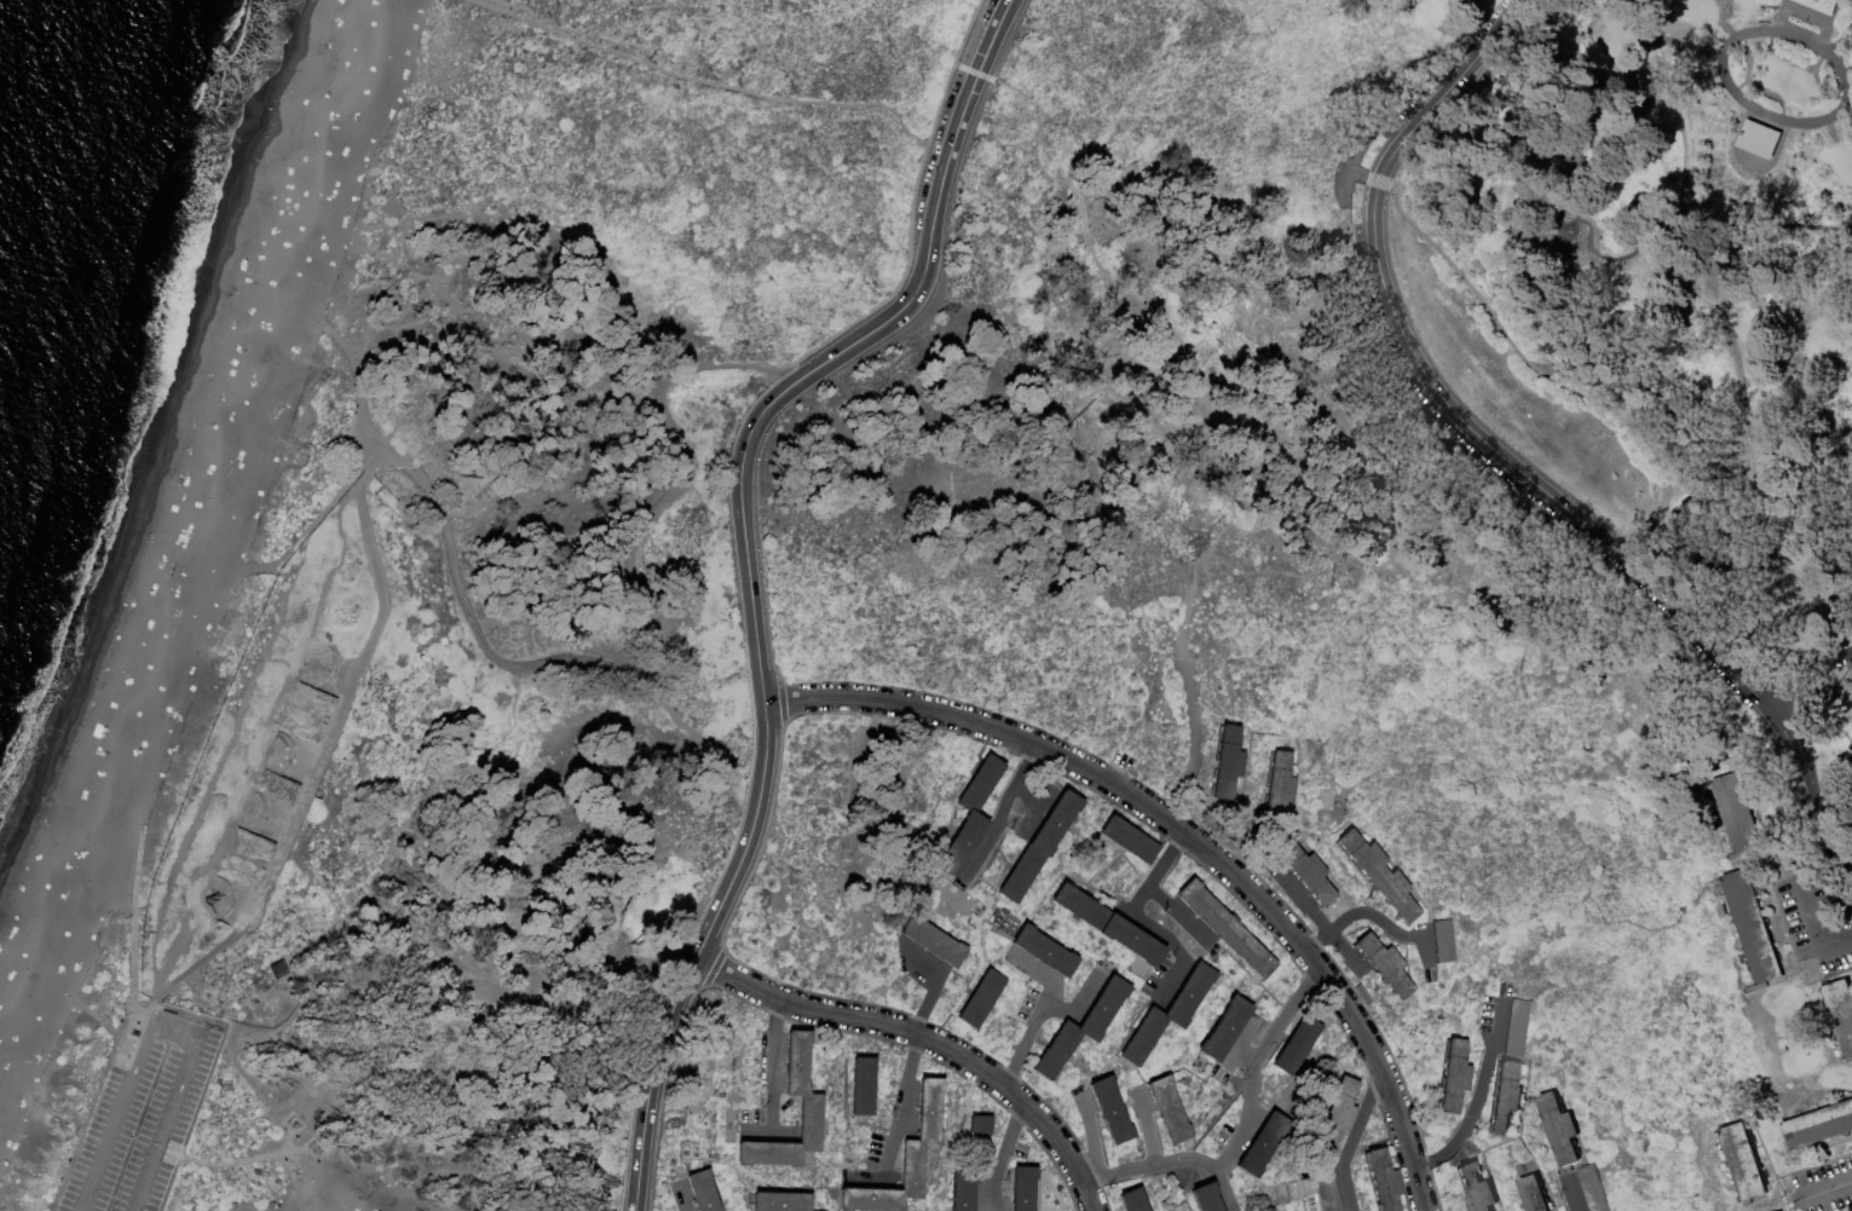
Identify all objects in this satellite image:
building: (1819, 6)
road: (1779, 16)
road: (1842, 41)
road: (979, 73)
road: (1850, 83)
road: (1576, 92)
road: (1737, 98)
parking lot: (1419, 108)
road: (1039, 128)
road: (908, 132)
building: (1759, 140)
road: (1367, 178)
road: (1335, 183)
road: (1778, 230)
parking lot: (1366, 266)
road: (1454, 271)
road: (1489, 294)
road: (1727, 352)
road: (790, 374)
road: (1201, 385)
road: (1442, 390)
road: (365, 414)
road: (745, 439)
road: (687, 461)
road: (312, 521)
road: (1723, 586)
park: (975, 624)
road: (313, 646)
road: (333, 650)
road: (351, 662)
building: (1850, 680)
road: (1812, 682)
road: (346, 694)
building: (1844, 705)
road: (232, 731)
road: (1195, 731)
road: (705, 737)
road: (262, 749)
road: (311, 750)
road: (267, 751)
building: (1228, 761)
road: (305, 766)
road: (296, 779)
building: (266, 782)
building: (1280, 784)
road: (1806, 788)
road: (287, 802)
road: (247, 805)
road: (1000, 814)
building: (970, 815)
building: (1737, 815)
road: (285, 821)
road: (1185, 836)
building: (1130, 840)
road: (272, 841)
building: (1040, 846)
building: (1308, 872)
building: (1380, 875)
road: (133, 878)
road: (1302, 900)
road: (1138, 901)
road: (204, 903)
road: (1181, 918)
road: (219, 919)
road: (1384, 921)
building: (1108, 924)
road: (1815, 924)
road: (240, 925)
building: (1227, 929)
building: (1753, 929)
building: (934, 941)
road: (1317, 941)
building: (1446, 941)
building: (1045, 951)
road: (1345, 952)
road: (1432, 961)
road: (133, 962)
building: (1385, 964)
building: (277, 969)
road: (1039, 969)
road: (175, 979)
road: (1171, 984)
road: (1050, 998)
building: (982, 999)
road: (928, 1000)
road: (1074, 1003)
road: (143, 1004)
building: (1169, 1014)
building: (1841, 1014)
road: (93, 1015)
road: (1040, 1016)
road: (1500, 1019)
building: (1225, 1028)
building: (1518, 1028)
building: (1081, 1030)
road: (175, 1031)
road: (925, 1039)
building: (1298, 1045)
road: (1019, 1056)
road: (772, 1065)
road: (1257, 1065)
building: (1454, 1077)
road: (651, 1082)
road: (905, 1084)
building: (864, 1086)
road: (90, 1098)
building: (1505, 1098)
building: (812, 1108)
road: (279, 1109)
building: (1169, 1109)
building: (1110, 1111)
parking lot: (139, 1113)
building: (1333, 1114)
road: (115, 1117)
road: (1471, 1117)
road: (167, 1125)
road: (1146, 1126)
building: (1819, 1128)
building: (1559, 1130)
road: (756, 1132)
road: (1091, 1132)
road: (1352, 1141)
building: (1264, 1143)
road: (888, 1153)
road: (1004, 1157)
building: (905, 1159)
road: (1171, 1161)
building: (973, 1163)
building: (1744, 1163)
road: (229, 1164)
building: (1384, 1180)
parking lot: (1824, 1187)
building: (1023, 1188)
building: (1326, 1188)
building: (1476, 1188)
building: (1592, 1189)
building: (704, 1190)
road: (1570, 1192)
road: (226, 1193)
road: (1821, 1193)
building: (1280, 1194)
building: (1534, 1194)
road: (681, 1195)
building: (1206, 1198)
building: (1135, 1200)
building: (781, 1201)
road: (4, 1206)
building: (1494, 1210)

